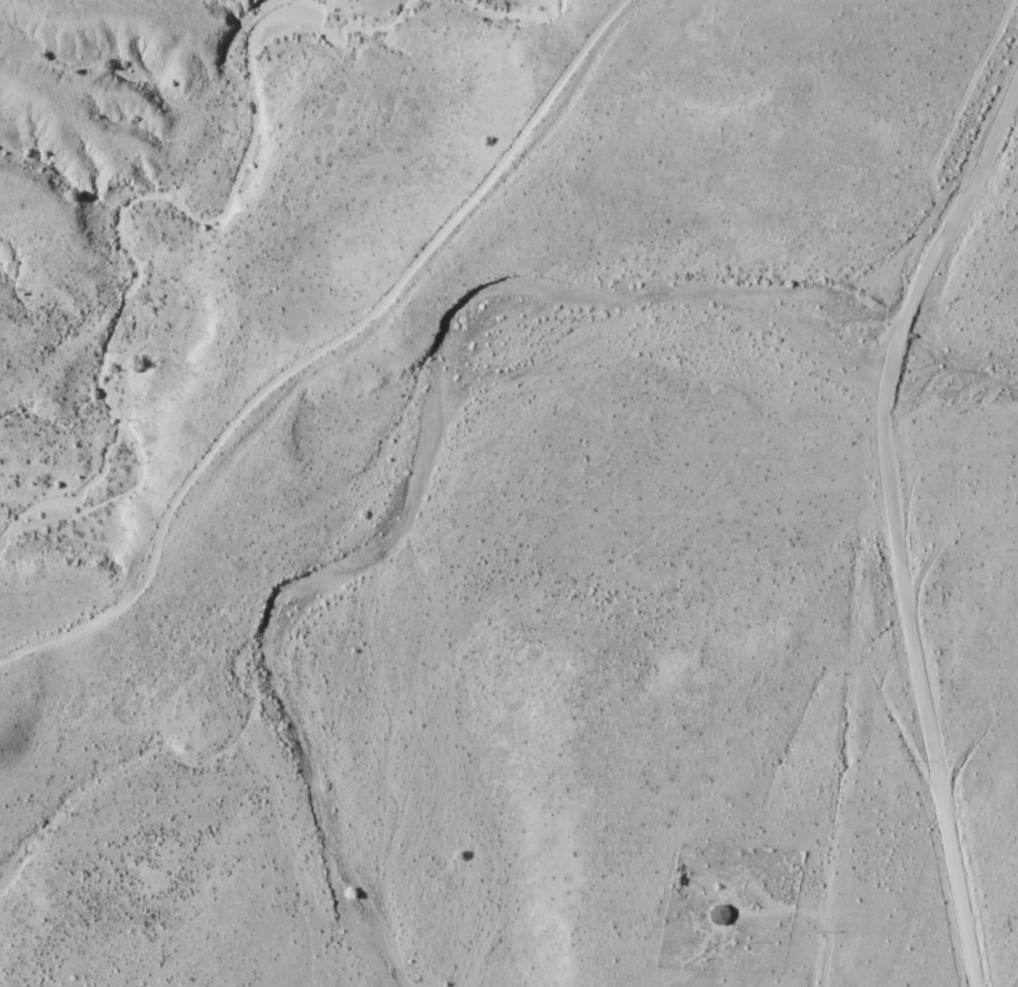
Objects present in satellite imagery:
road: (943, 239)
road: (321, 348)
river: (416, 447)
road: (841, 696)
road: (926, 698)
building: (719, 914)

